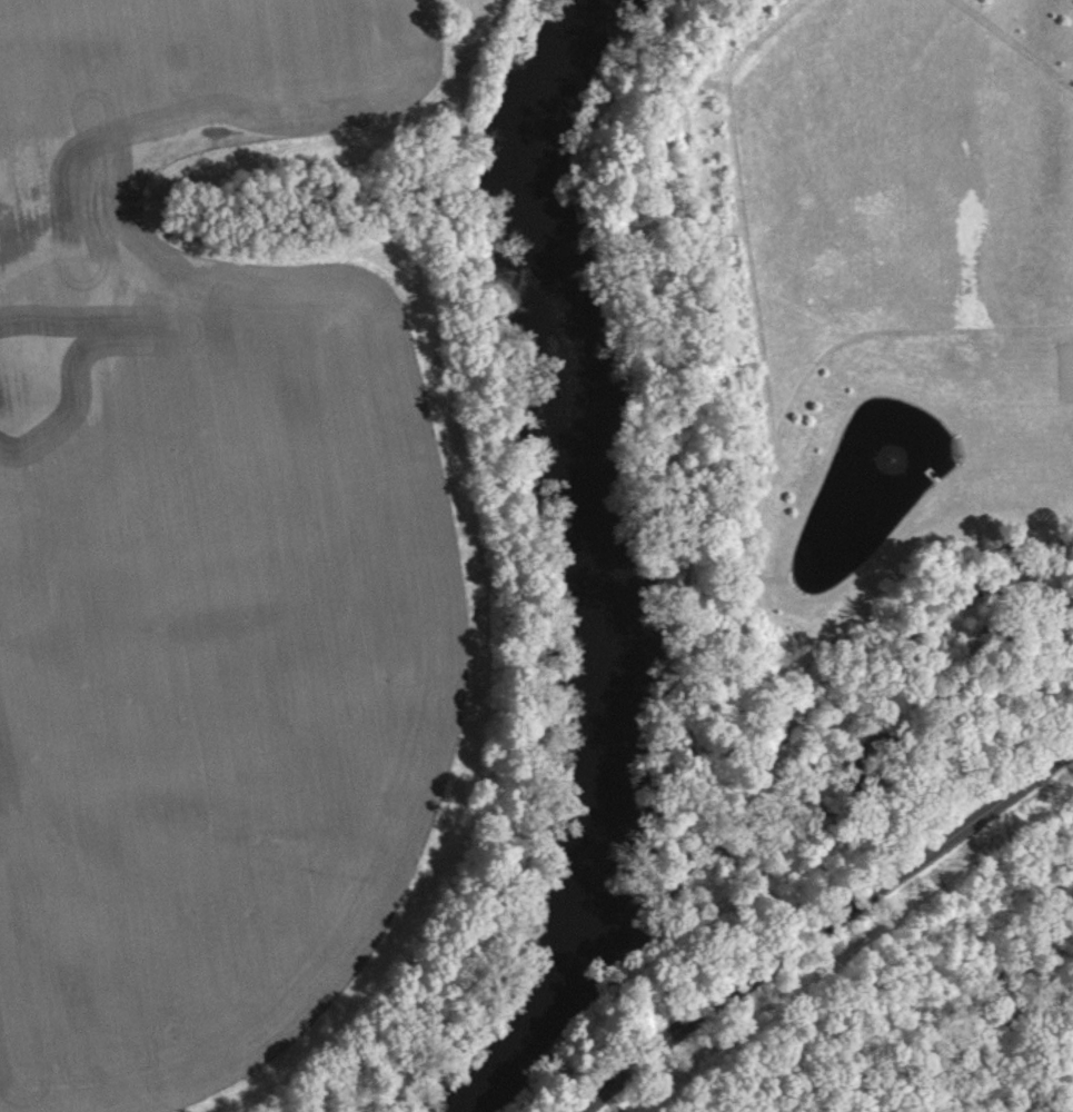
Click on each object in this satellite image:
river: (607, 562)
road: (821, 925)

